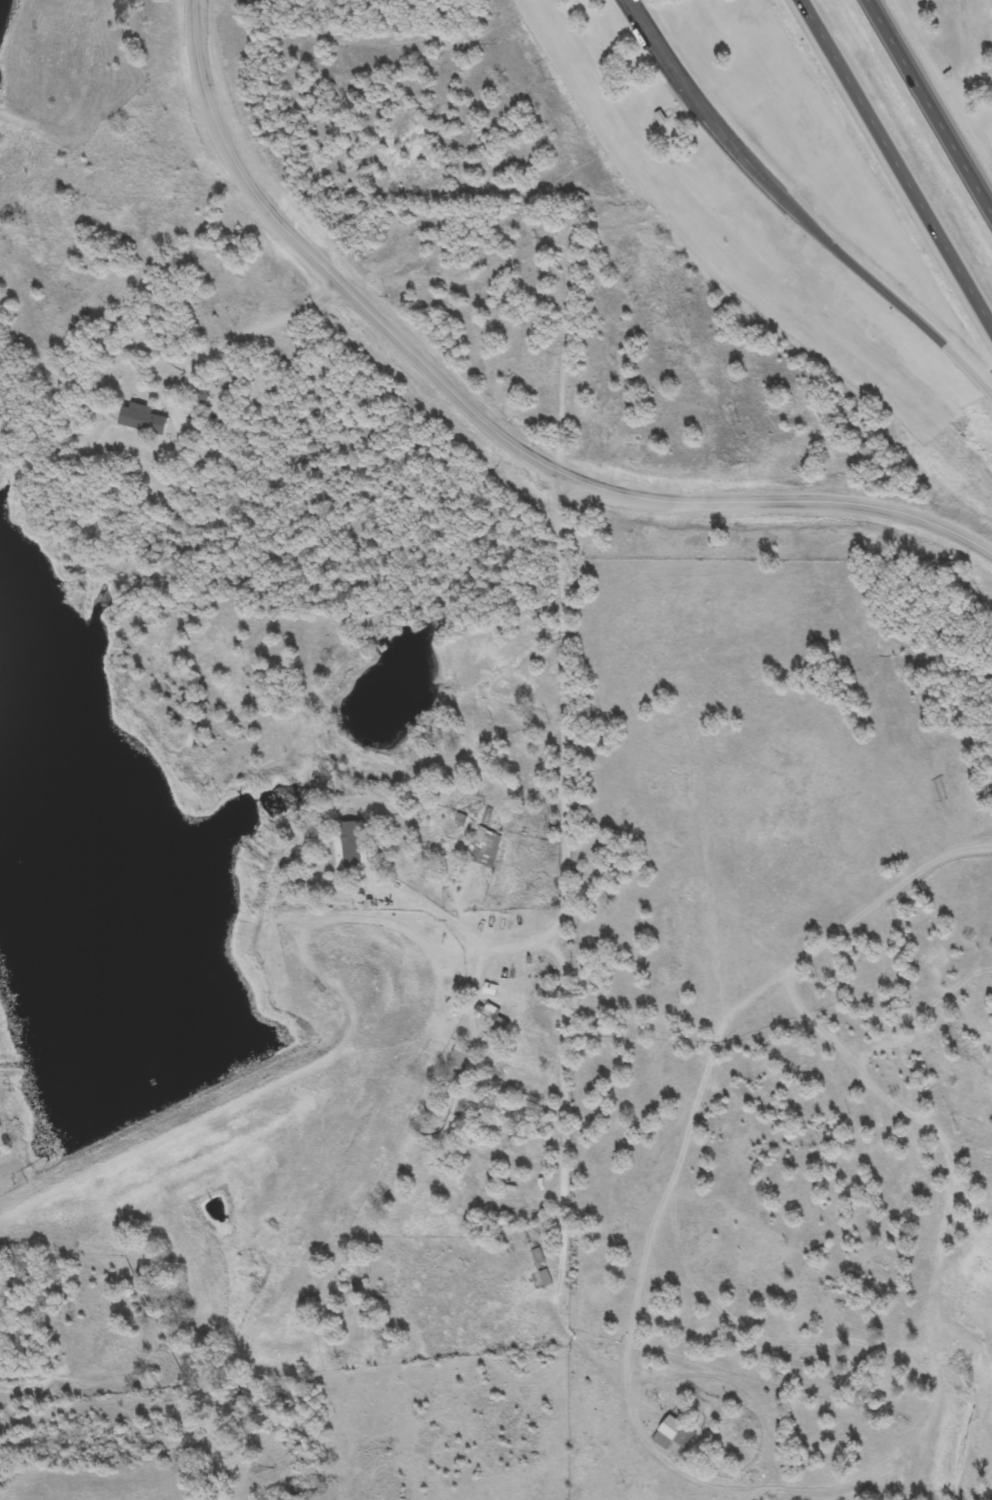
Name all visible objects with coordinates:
parking lot: (990, 4)
parking lot: (689, 89)
road: (691, 94)
road: (931, 103)
building: (658, 119)
road: (895, 162)
road: (877, 287)
road: (239, 337)
building: (233, 369)
building: (143, 419)
road: (487, 423)
road: (560, 709)
building: (349, 845)
building: (483, 847)
road: (462, 934)
building: (489, 990)
building: (491, 1018)
building: (459, 1053)
building: (912, 1185)
road: (559, 1190)
building: (537, 1255)
building: (544, 1277)
building: (673, 1433)

